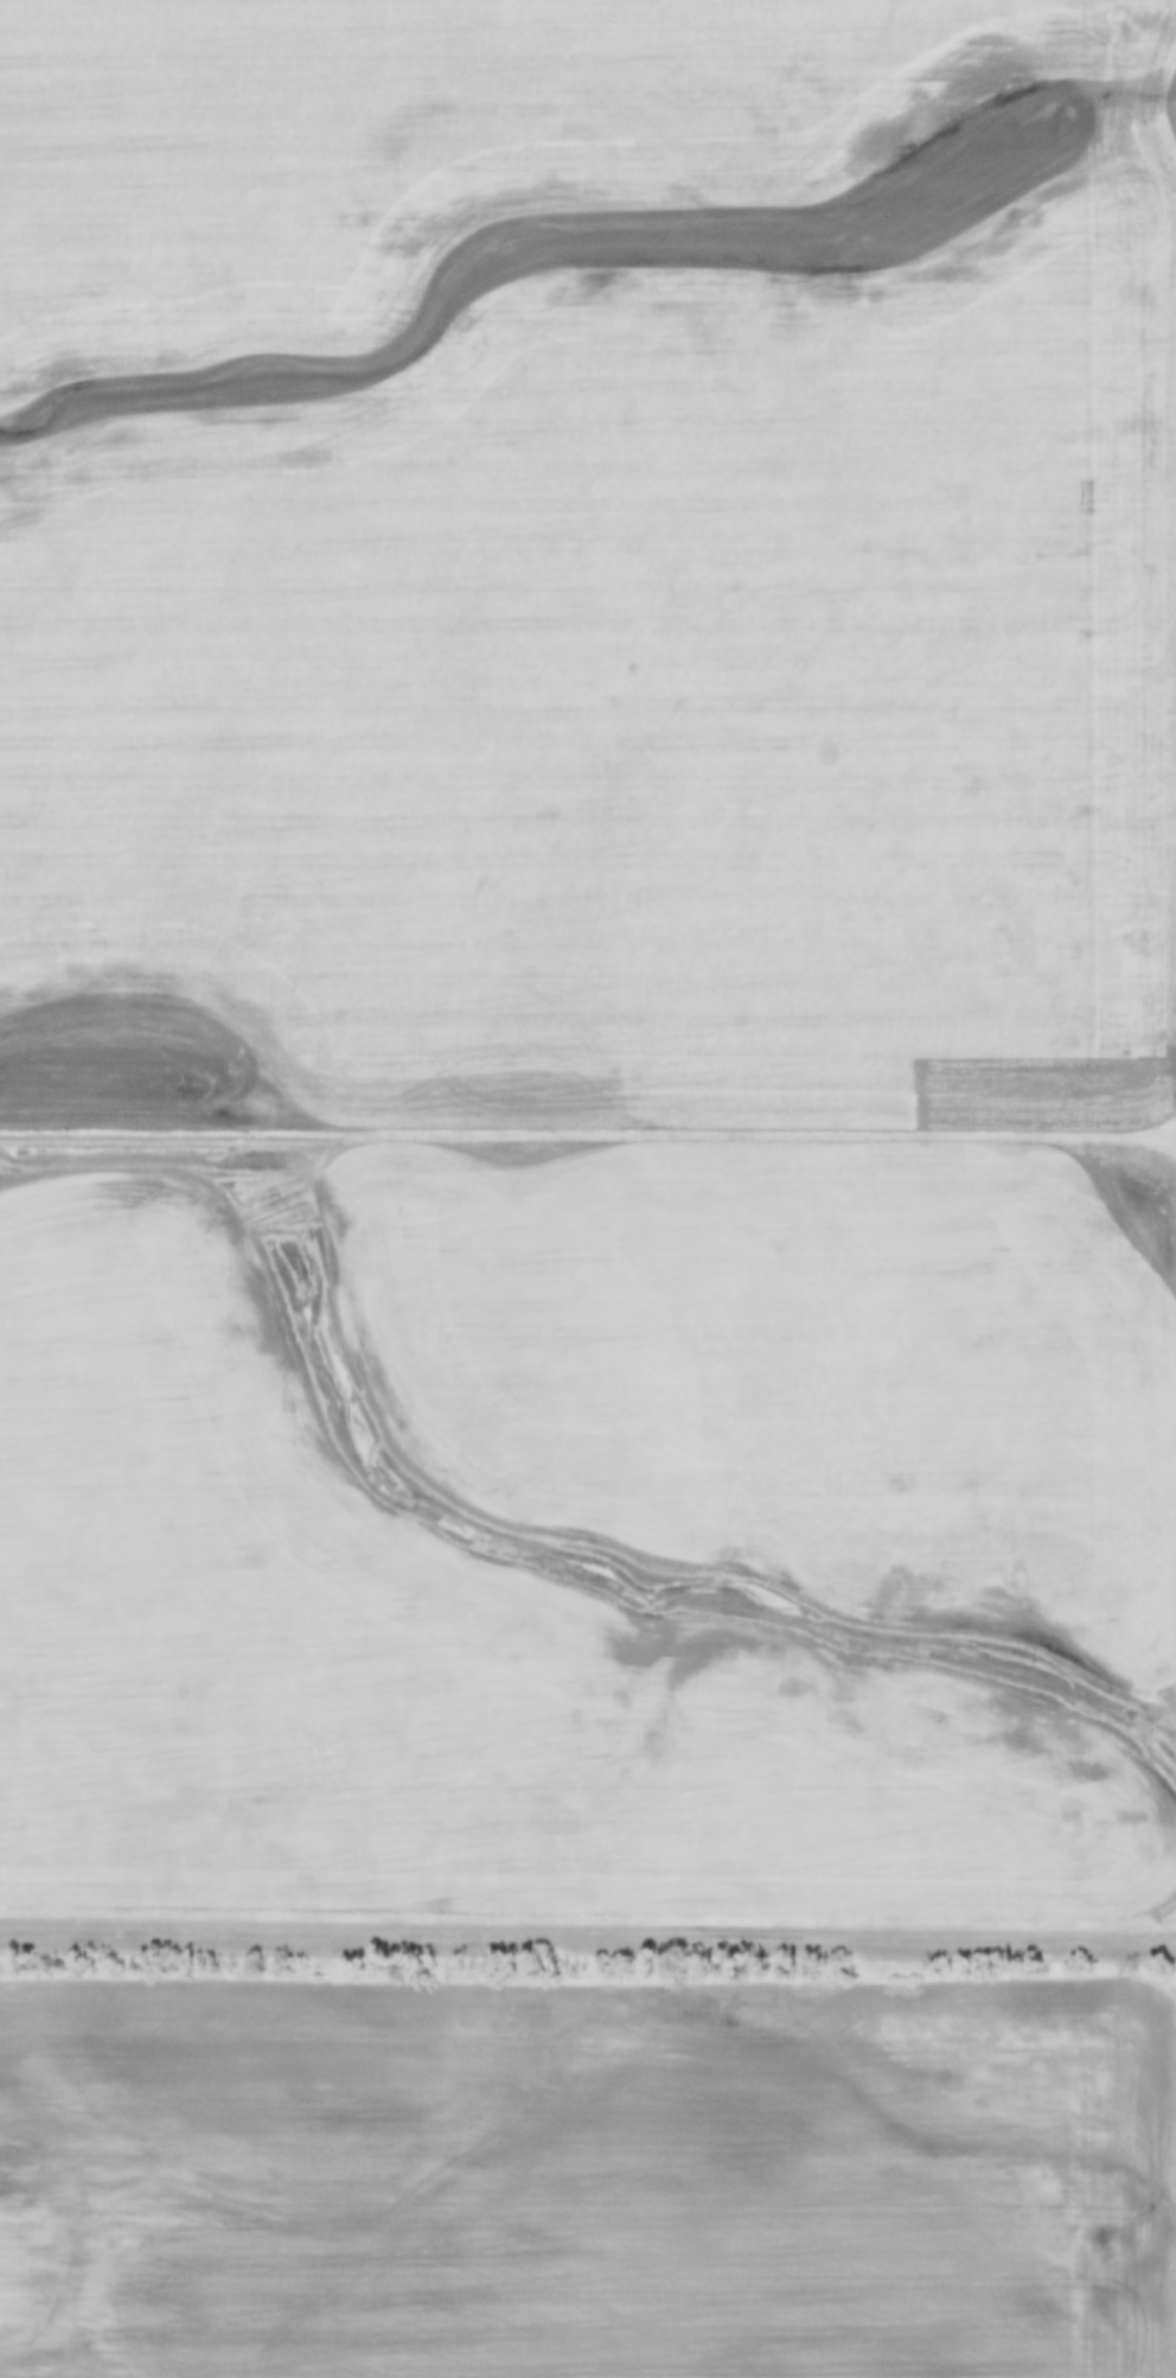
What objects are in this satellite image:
road: (588, 1932)

